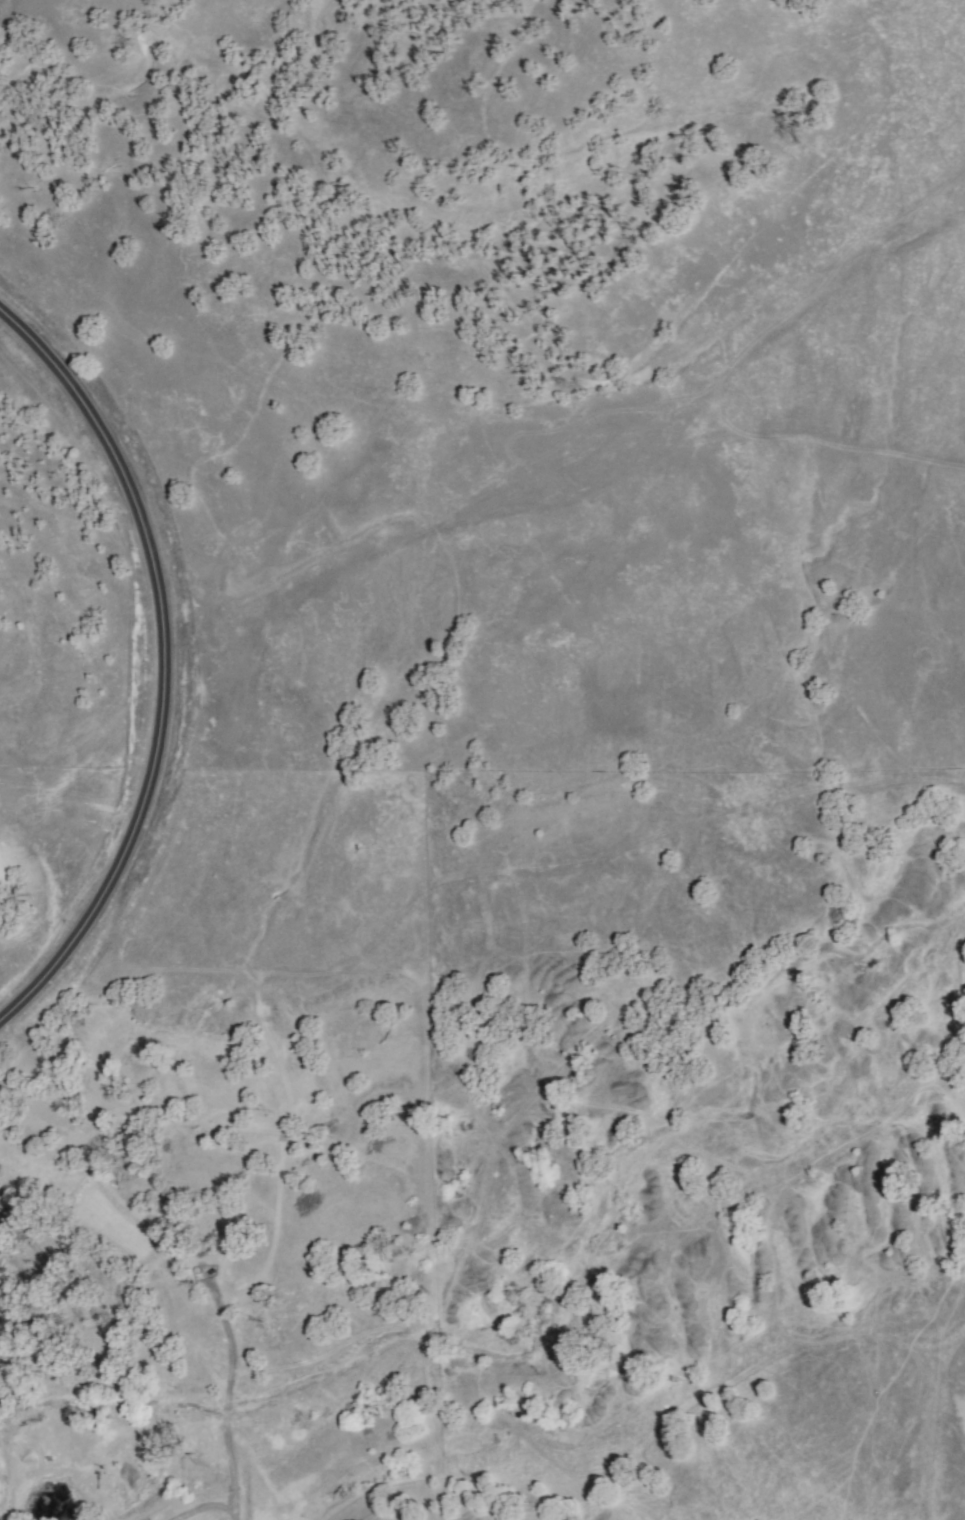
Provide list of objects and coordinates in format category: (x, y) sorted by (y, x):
road: (161, 666)
road: (224, 1405)

